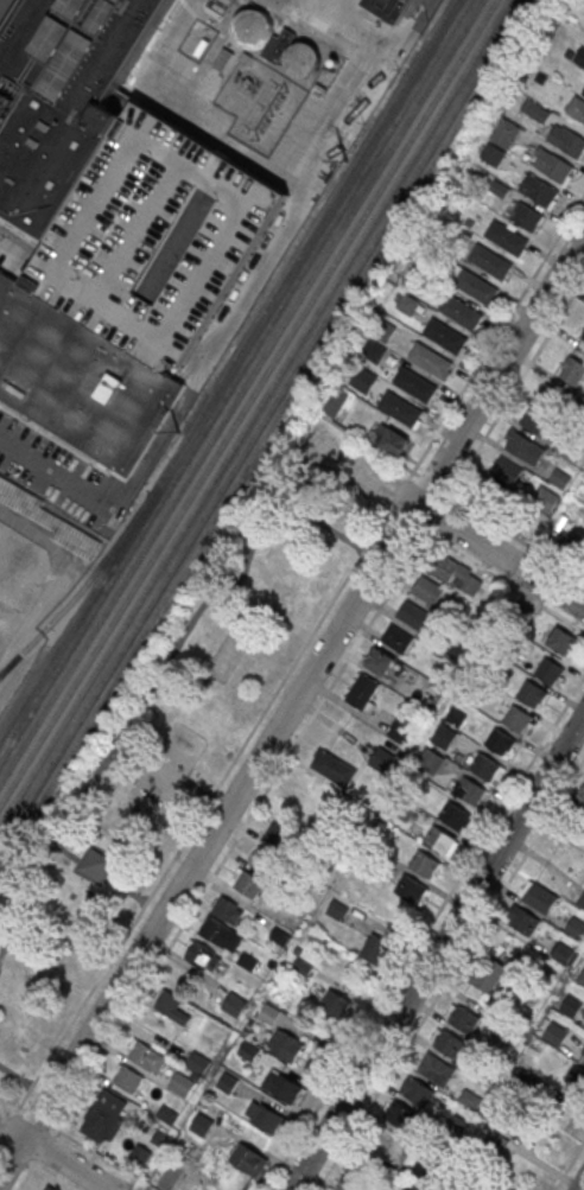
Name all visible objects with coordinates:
road: (2, 4)
building: (393, 6)
parking lot: (5, 8)
building: (579, 57)
building: (301, 58)
building: (246, 59)
building: (583, 94)
building: (63, 98)
power substation: (260, 106)
building: (577, 109)
building: (539, 115)
building: (506, 134)
building: (566, 141)
building: (493, 155)
power tower: (347, 161)
building: (552, 166)
building: (539, 191)
building: (527, 217)
building: (157, 237)
parking garage: (157, 237)
building: (507, 238)
road: (18, 244)
building: (490, 262)
building: (476, 287)
building: (407, 305)
building: (461, 312)
building: (383, 331)
road: (495, 336)
building: (445, 337)
building: (583, 337)
building: (373, 351)
building: (430, 361)
railway: (227, 371)
building: (572, 371)
building: (80, 377)
building: (363, 381)
railway: (235, 382)
building: (415, 386)
road: (514, 388)
railway: (242, 393)
building: (550, 397)
building: (335, 402)
railway: (248, 403)
building: (400, 409)
railway: (256, 414)
building: (535, 422)
railway: (262, 425)
power tower: (179, 433)
building: (391, 439)
building: (526, 448)
building: (567, 450)
building: (507, 470)
parking lot: (58, 472)
road: (52, 473)
building: (560, 479)
road: (399, 488)
road: (445, 494)
building: (483, 498)
building: (545, 499)
road: (437, 513)
road: (444, 521)
road: (412, 522)
building: (452, 571)
road: (501, 578)
building: (427, 591)
railway: (75, 597)
building: (521, 615)
building: (418, 618)
building: (396, 638)
building: (563, 639)
building: (380, 662)
road: (158, 673)
building: (551, 674)
building: (362, 692)
building: (532, 695)
road: (291, 704)
building: (456, 717)
building: (519, 720)
building: (401, 731)
building: (444, 737)
building: (501, 743)
park: (166, 746)
building: (381, 762)
building: (431, 762)
building: (484, 768)
building: (334, 770)
building: (470, 793)
building: (582, 798)
road: (204, 806)
building: (401, 807)
building: (455, 816)
road: (240, 828)
road: (120, 831)
building: (279, 835)
building: (440, 840)
road: (66, 854)
building: (264, 863)
building: (95, 864)
road: (99, 864)
building: (424, 864)
road: (91, 871)
building: (248, 884)
road: (125, 889)
building: (411, 889)
building: (541, 898)
building: (580, 903)
building: (338, 910)
building: (228, 911)
building: (523, 922)
building: (576, 929)
road: (424, 931)
building: (222, 935)
building: (280, 937)
building: (375, 948)
road: (436, 952)
building: (563, 954)
building: (202, 956)
building: (248, 962)
road: (449, 973)
building: (485, 973)
building: (580, 978)
building: (167, 1003)
building: (234, 1005)
building: (335, 1005)
building: (571, 1006)
building: (269, 1014)
building: (464, 1020)
building: (556, 1033)
building: (449, 1044)
building: (287, 1048)
building: (249, 1052)
building: (583, 1052)
building: (145, 1056)
building: (198, 1064)
building: (436, 1070)
road: (14, 1076)
building: (576, 1077)
building: (127, 1080)
building: (228, 1083)
building: (526, 1083)
building: (182, 1086)
building: (281, 1087)
building: (418, 1093)
building: (470, 1099)
road: (21, 1107)
building: (104, 1115)
road: (37, 1116)
building: (400, 1116)
building: (267, 1119)
road: (6, 1124)
building: (202, 1126)
road: (0, 1135)
road: (0, 1145)
road: (44, 1146)
road: (12, 1153)
road: (53, 1156)
road: (102, 1156)
building: (139, 1156)
building: (249, 1162)
road: (569, 1165)
road: (27, 1175)
road: (47, 1175)
building: (350, 1184)
road: (580, 1185)
building: (47, 1188)

